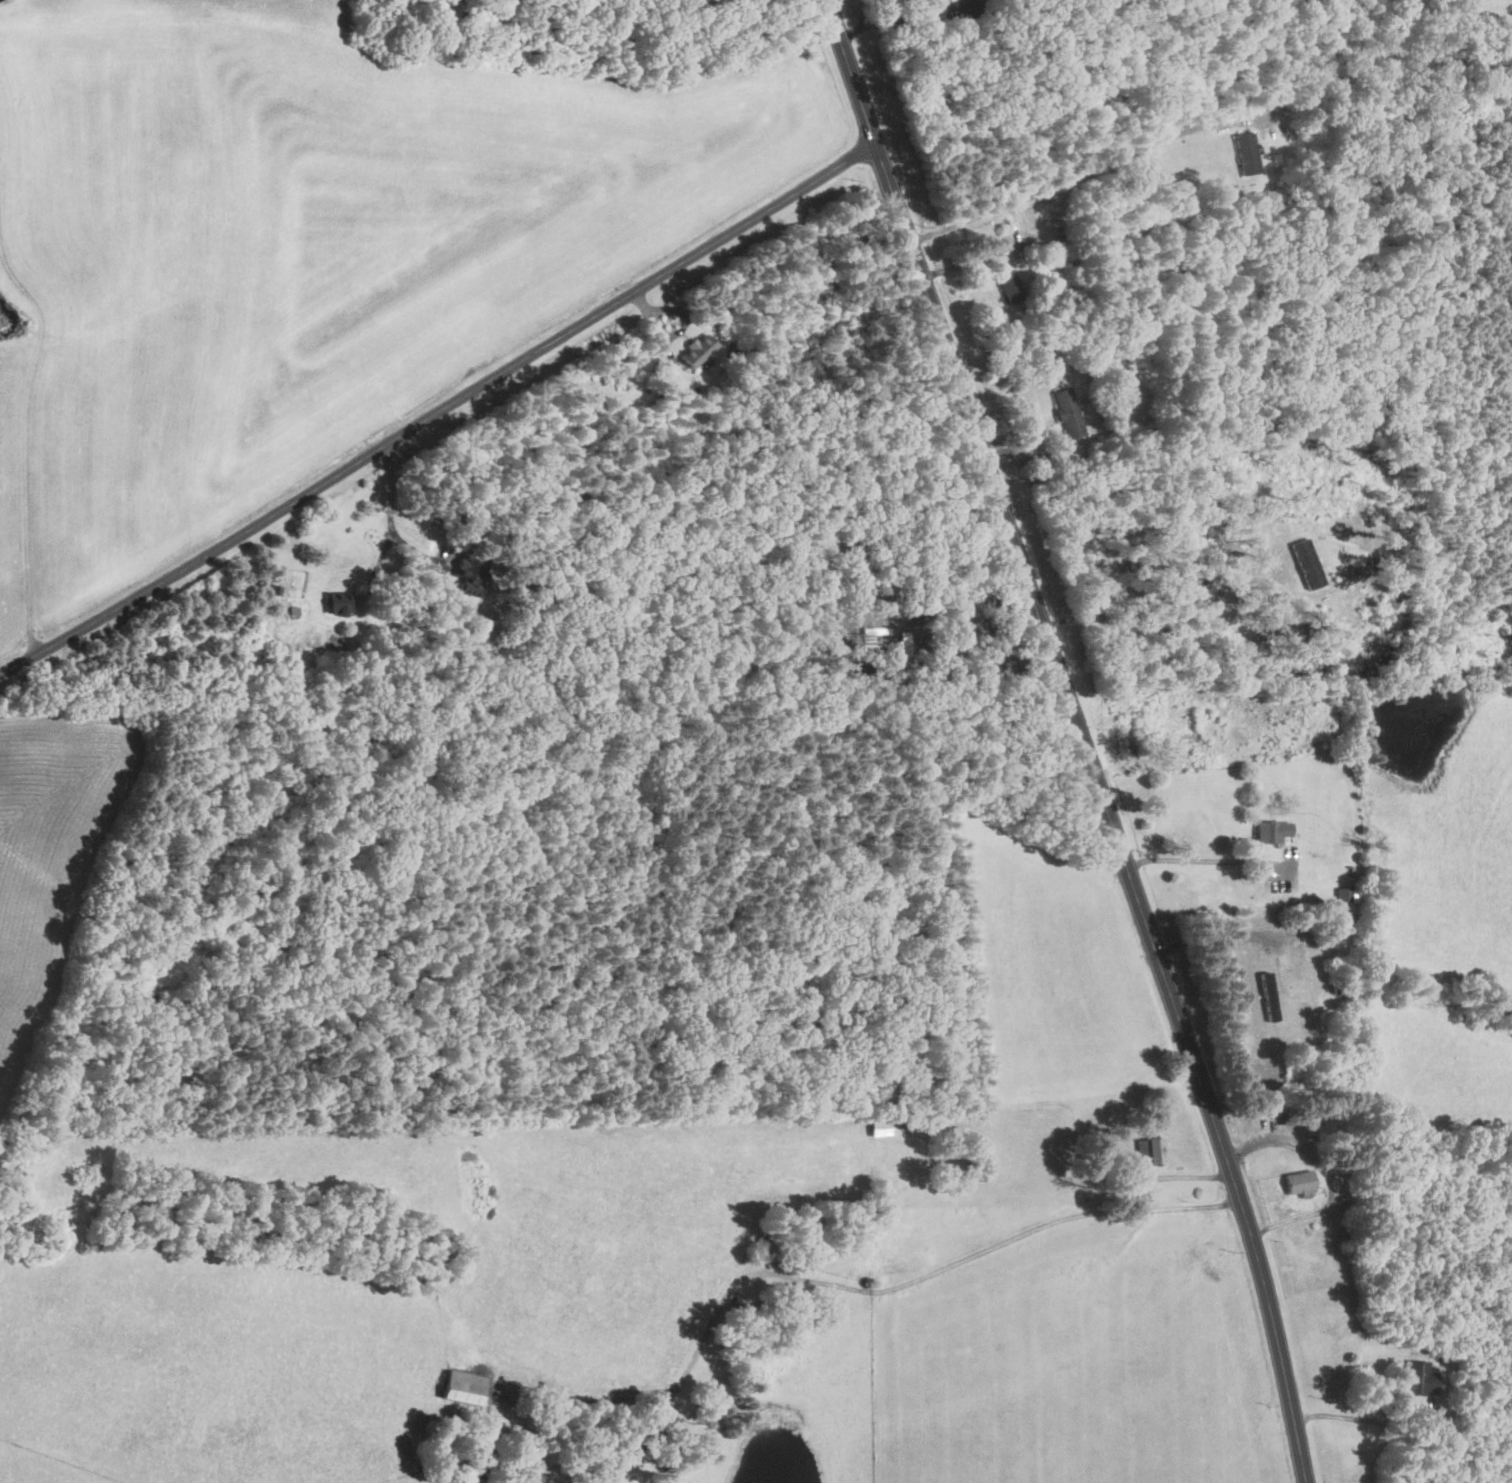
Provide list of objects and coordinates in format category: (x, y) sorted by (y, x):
road: (899, 17)
building: (1246, 152)
road: (1015, 207)
building: (1010, 285)
building: (698, 350)
road: (441, 410)
building: (1068, 412)
road: (388, 516)
building: (1307, 563)
building: (471, 574)
building: (338, 602)
road: (1081, 736)
building: (1272, 829)
road: (1205, 860)
building: (1343, 892)
building: (1268, 995)
building: (1151, 1149)
road: (1326, 1173)
building: (1300, 1182)
building: (462, 1386)
road: (1356, 1418)

